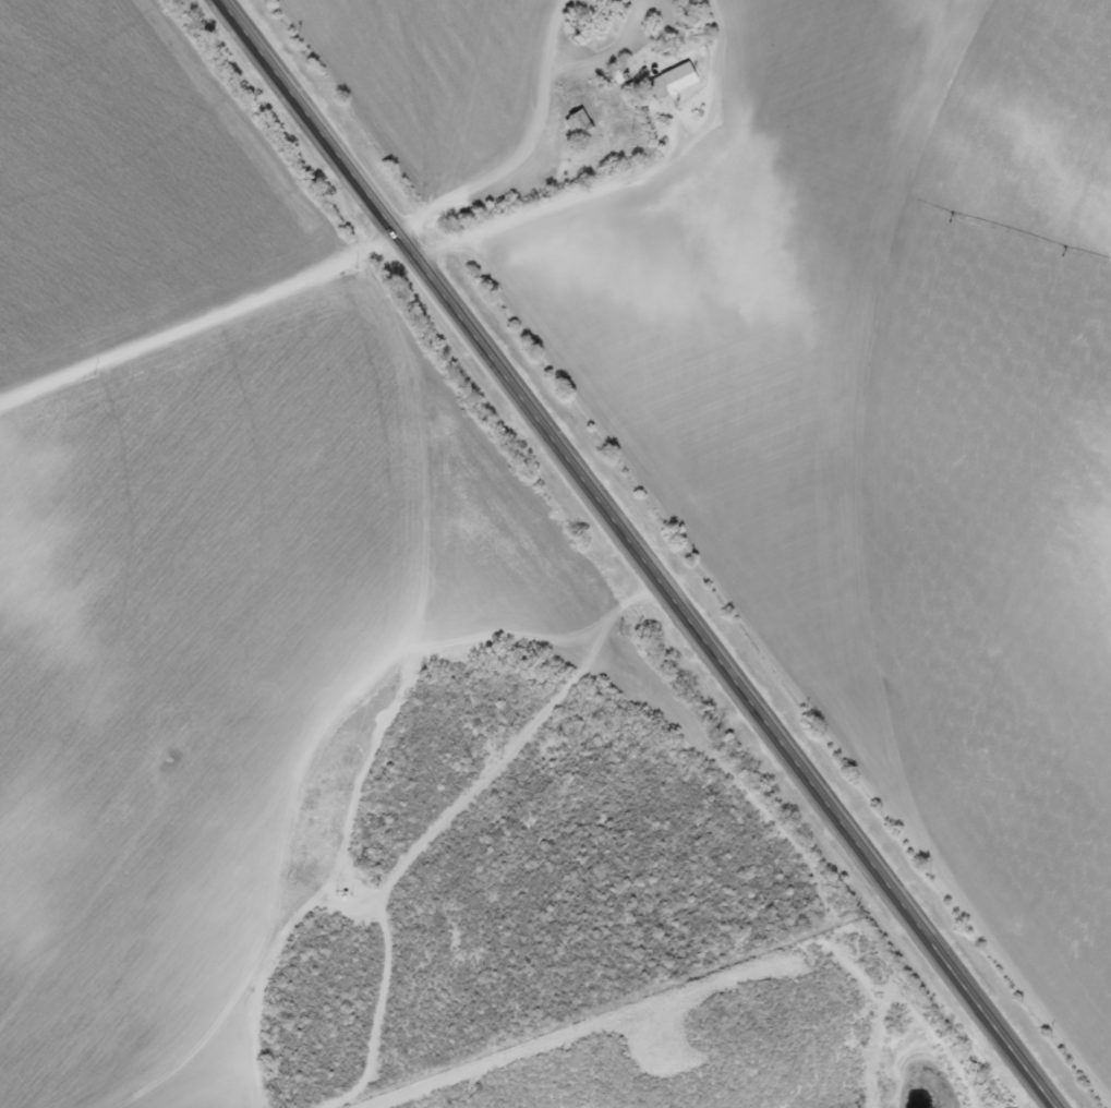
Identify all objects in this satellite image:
building: (668, 83)
building: (576, 127)
road: (202, 321)
railway: (692, 546)
road: (641, 553)

